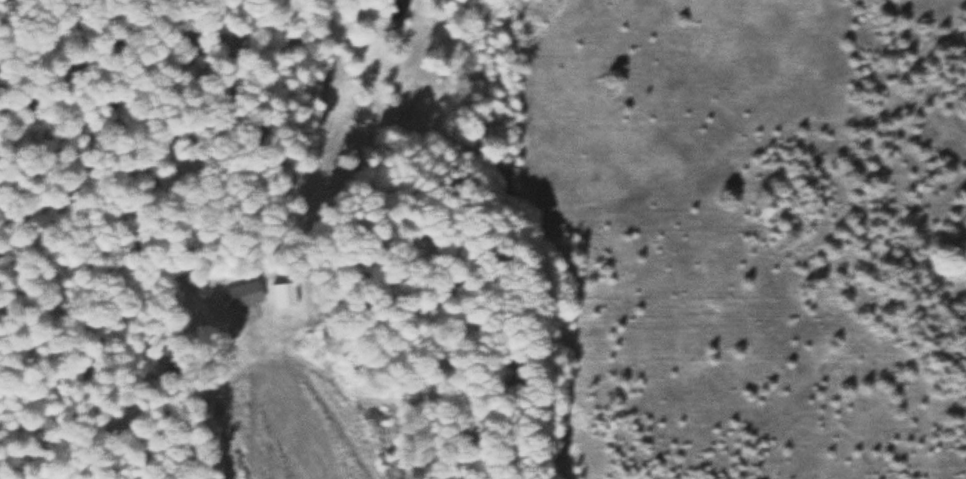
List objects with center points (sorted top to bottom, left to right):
building: (246, 290)

